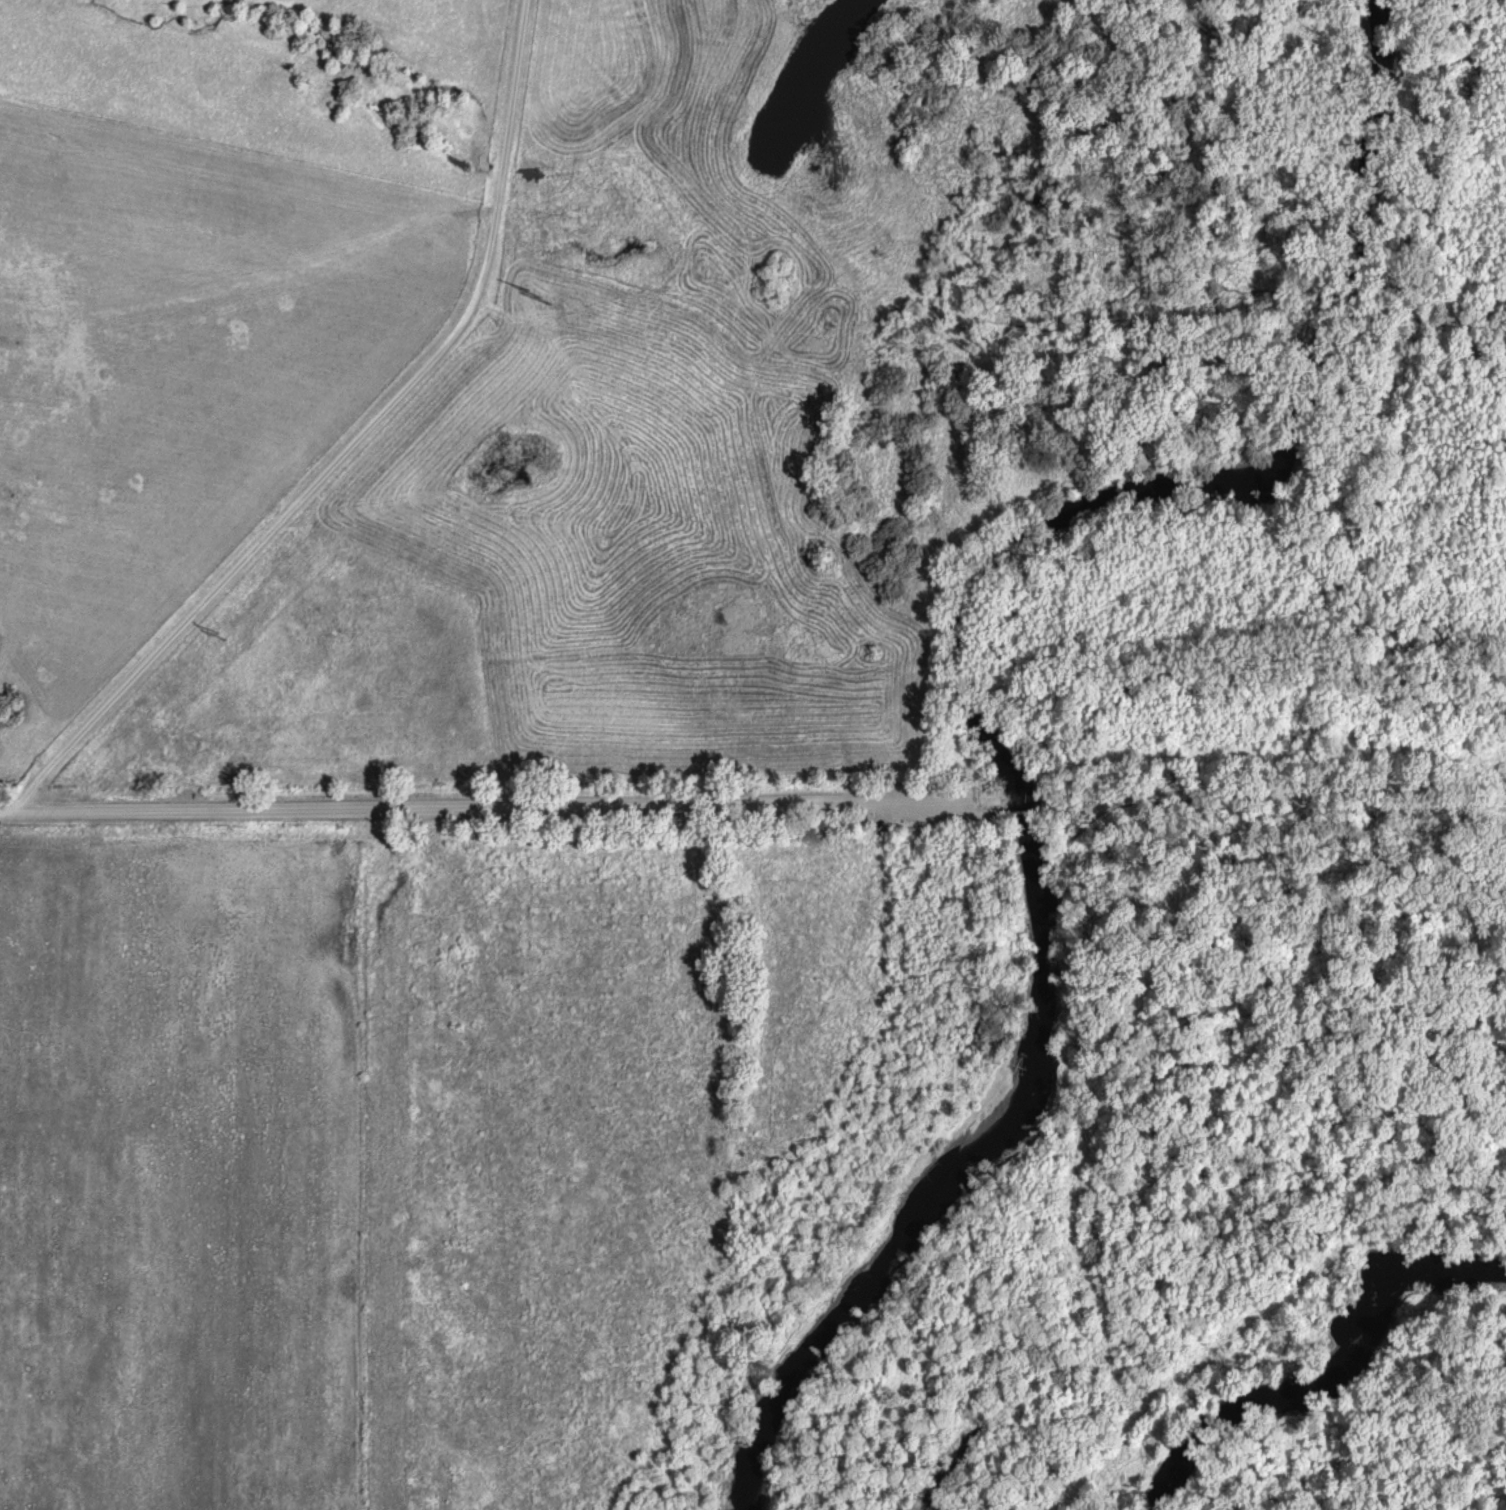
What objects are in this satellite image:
road: (359, 447)
road: (1239, 791)
road: (485, 805)

